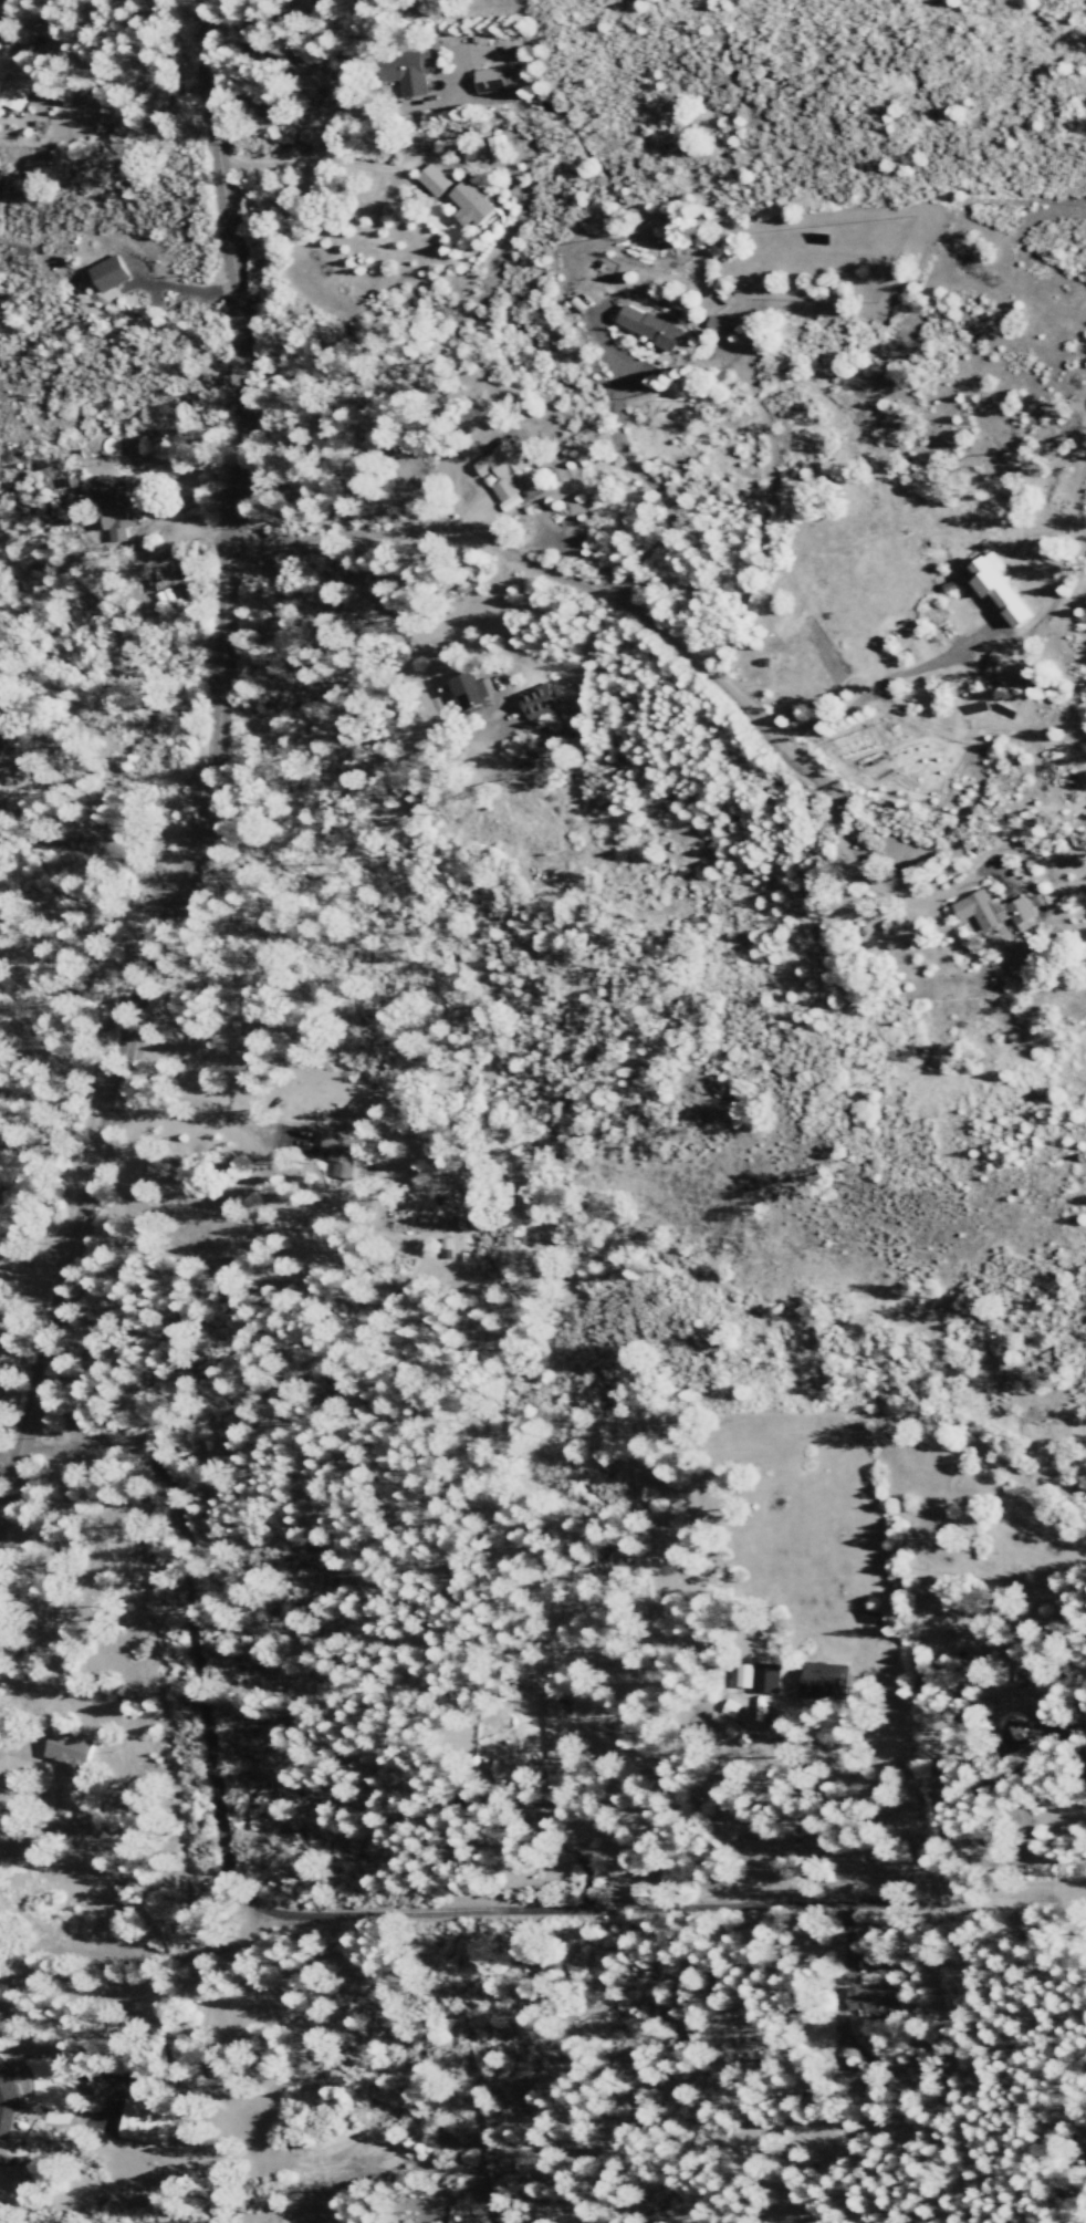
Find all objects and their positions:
building: (406, 73)
building: (490, 81)
building: (19, 89)
building: (431, 181)
building: (469, 205)
building: (109, 274)
building: (651, 326)
building: (507, 471)
building: (118, 513)
road: (571, 578)
building: (1003, 591)
building: (1083, 615)
building: (1006, 672)
building: (472, 693)
building: (540, 702)
building: (0, 747)
road: (216, 777)
road: (94, 858)
building: (994, 913)
building: (343, 1153)
building: (447, 1248)
road: (368, 1415)
road: (195, 1639)
building: (769, 1679)
building: (826, 1679)
building: (730, 1710)
building: (1056, 1724)
building: (876, 2001)
building: (7, 2096)
building: (146, 2122)

